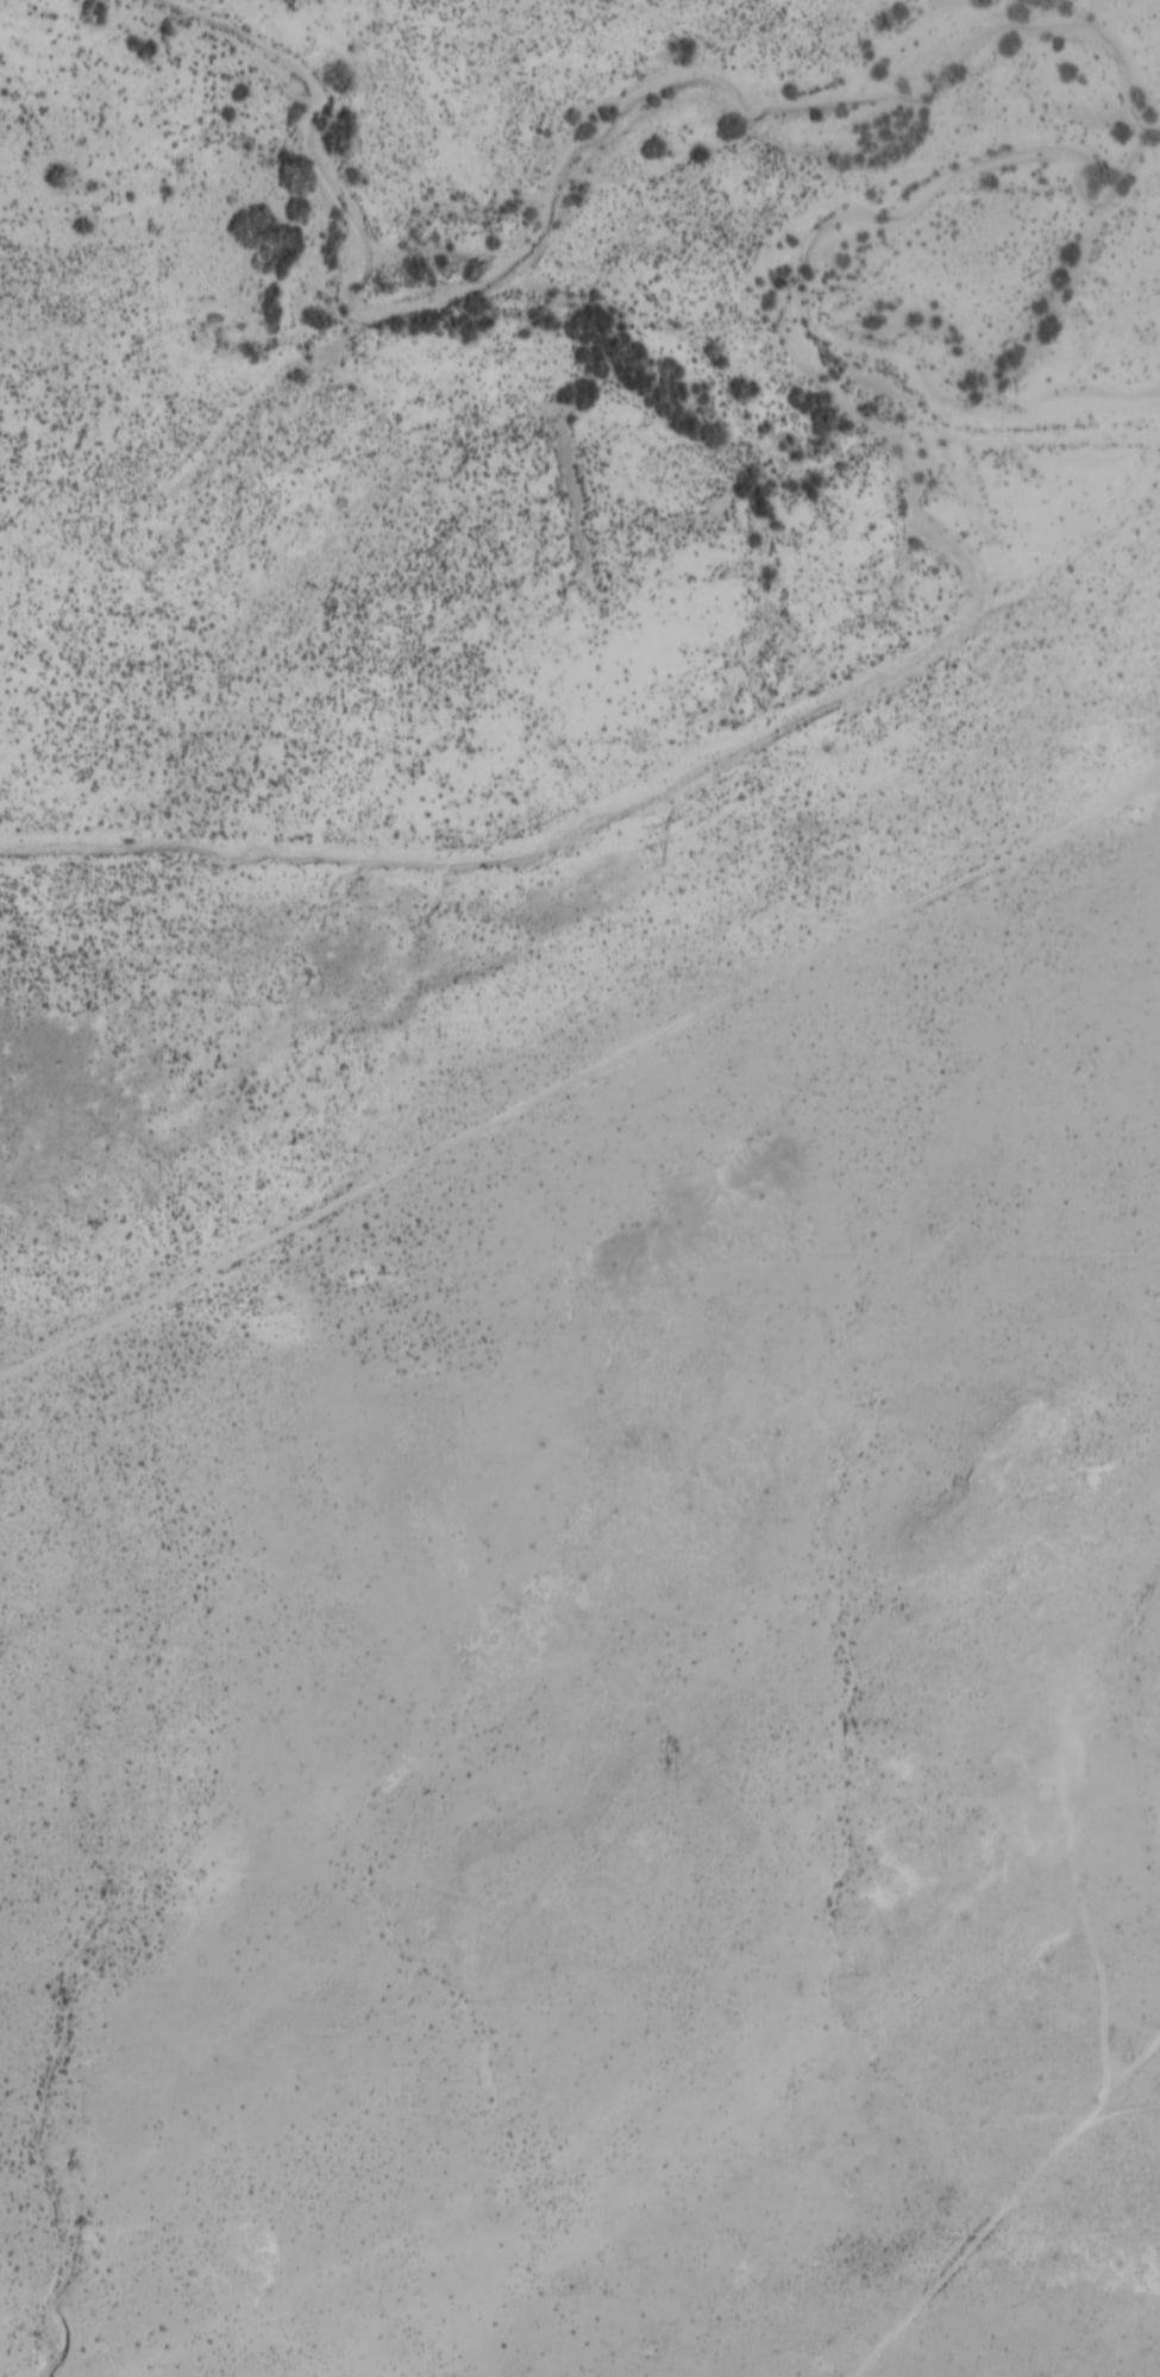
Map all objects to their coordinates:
river: (635, 337)
road: (1036, 2030)
road: (916, 2170)

